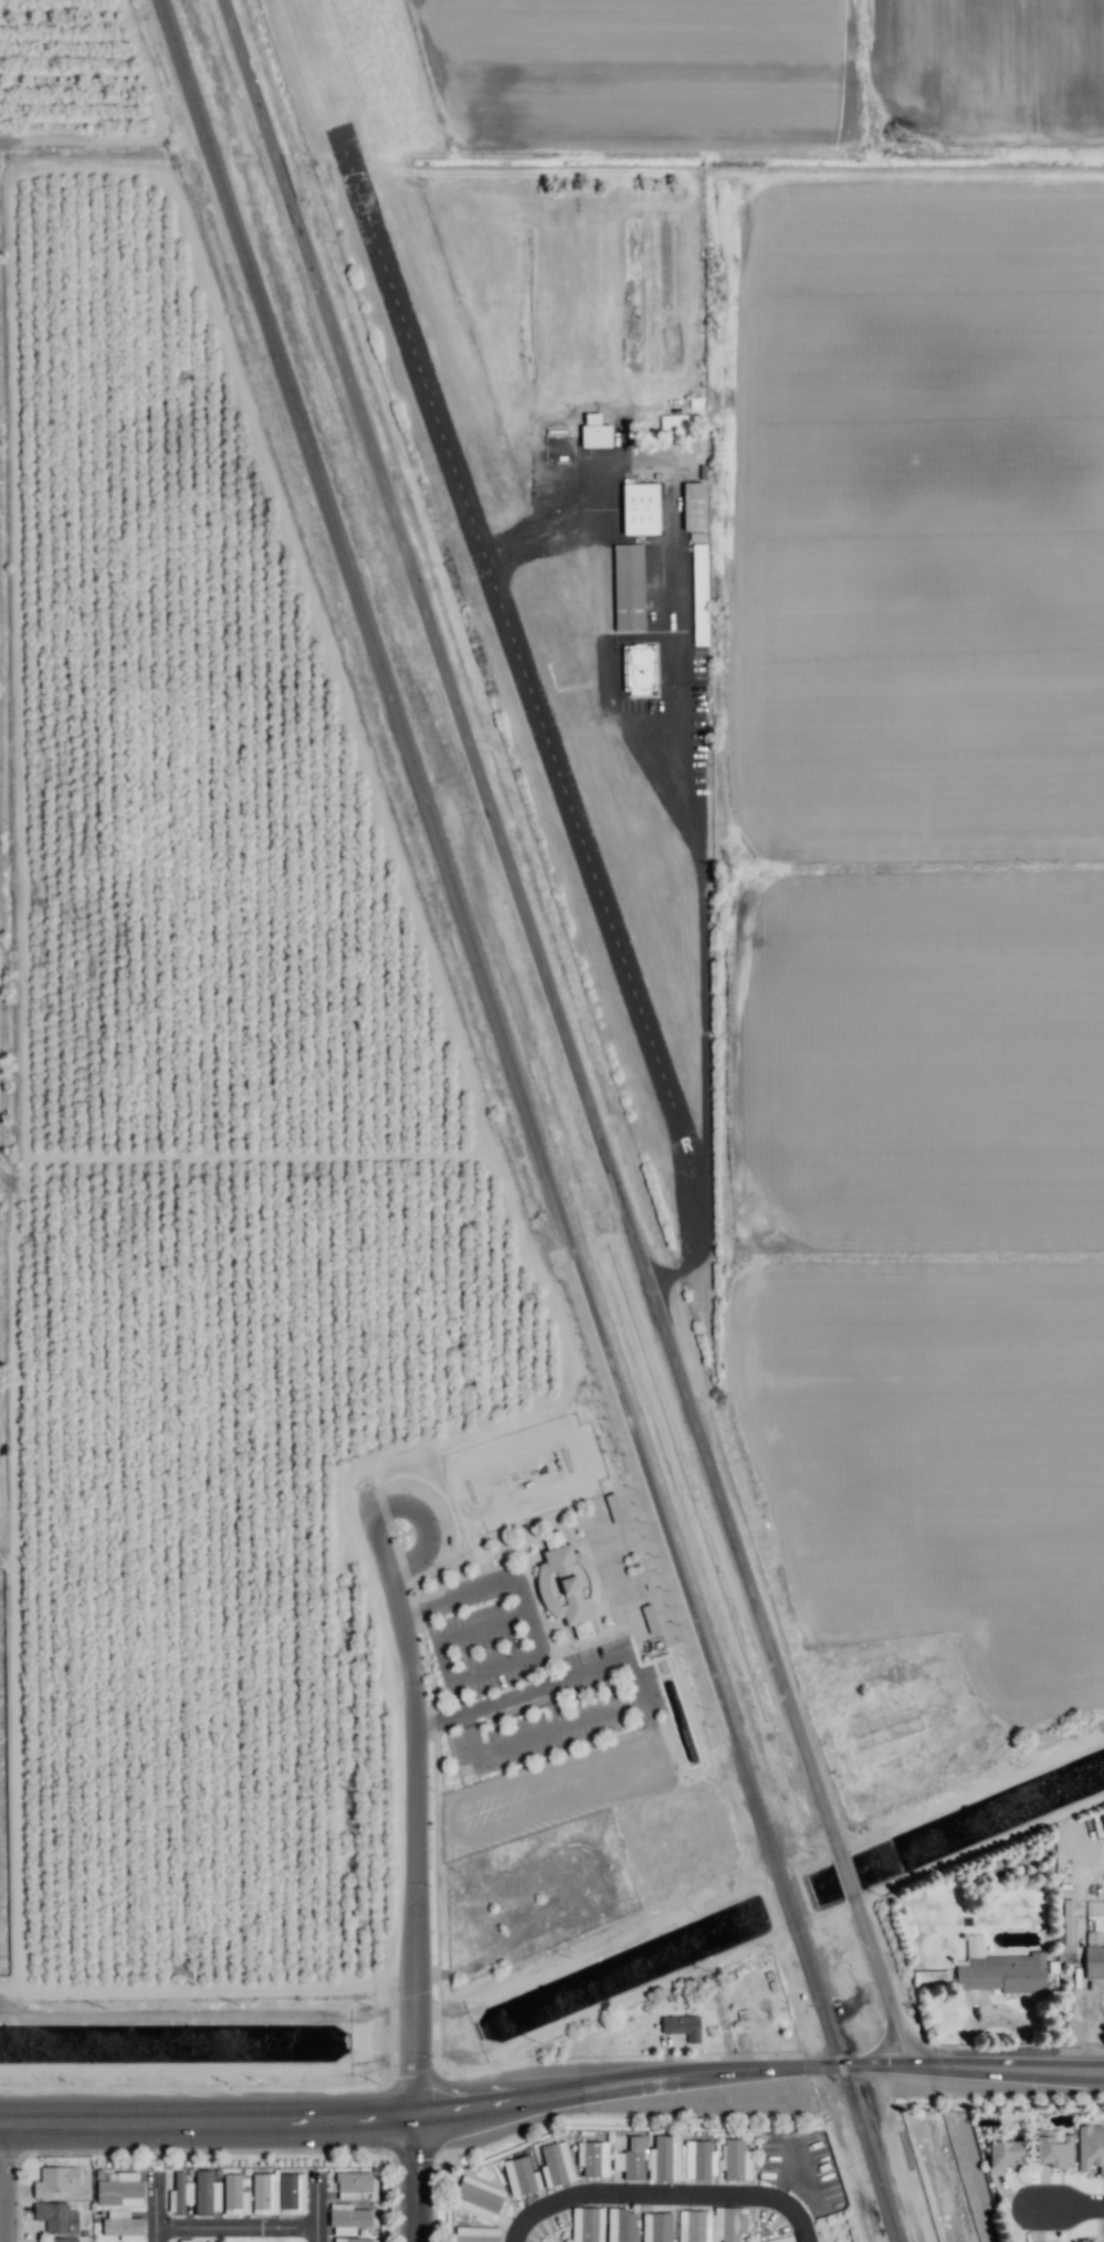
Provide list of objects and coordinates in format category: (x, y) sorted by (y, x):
building: (675, 424)
building: (593, 432)
road: (610, 461)
building: (693, 506)
building: (640, 508)
road: (545, 533)
building: (628, 587)
road: (679, 591)
building: (698, 594)
building: (638, 667)
road: (571, 1033)
railway: (529, 1120)
crop: (197, 1131)
railway: (551, 1271)
road: (367, 1502)
road: (427, 1525)
building: (567, 1585)
road: (493, 1587)
building: (649, 1618)
parking lot: (479, 1651)
road: (442, 1661)
road: (613, 1661)
road: (543, 1667)
road: (455, 1697)
road: (506, 1697)
parking lot: (568, 1708)
road: (439, 1719)
road: (535, 1734)
road: (414, 1812)
building: (1065, 1925)
building: (1093, 1961)
building: (1000, 1970)
building: (930, 1977)
building: (682, 2027)
road: (971, 2066)
road: (625, 2083)
road: (207, 2119)
building: (1090, 2148)
building: (1053, 2149)
building: (1005, 2152)
building: (592, 2158)
building: (664, 2158)
building: (631, 2159)
building: (697, 2159)
building: (737, 2160)
building: (556, 2164)
building: (977, 2171)
building: (521, 2176)
road: (417, 2179)
building: (54, 2180)
road: (8, 2182)
building: (351, 2185)
building: (120, 2190)
building: (206, 2192)
building: (179, 2193)
building: (264, 2193)
building: (292, 2193)
building: (234, 2196)
building: (479, 2197)
road: (662, 2203)
road: (1062, 2208)
road: (159, 2209)
road: (323, 2211)
building: (55, 2218)
building: (347, 2219)
building: (122, 2224)
building: (587, 2224)
building: (729, 2224)
building: (621, 2225)
building: (694, 2225)
building: (656, 2227)
road: (241, 2232)
building: (475, 2234)
building: (780, 2239)
building: (62, 2240)
building: (350, 2240)
building: (1083, 2241)

